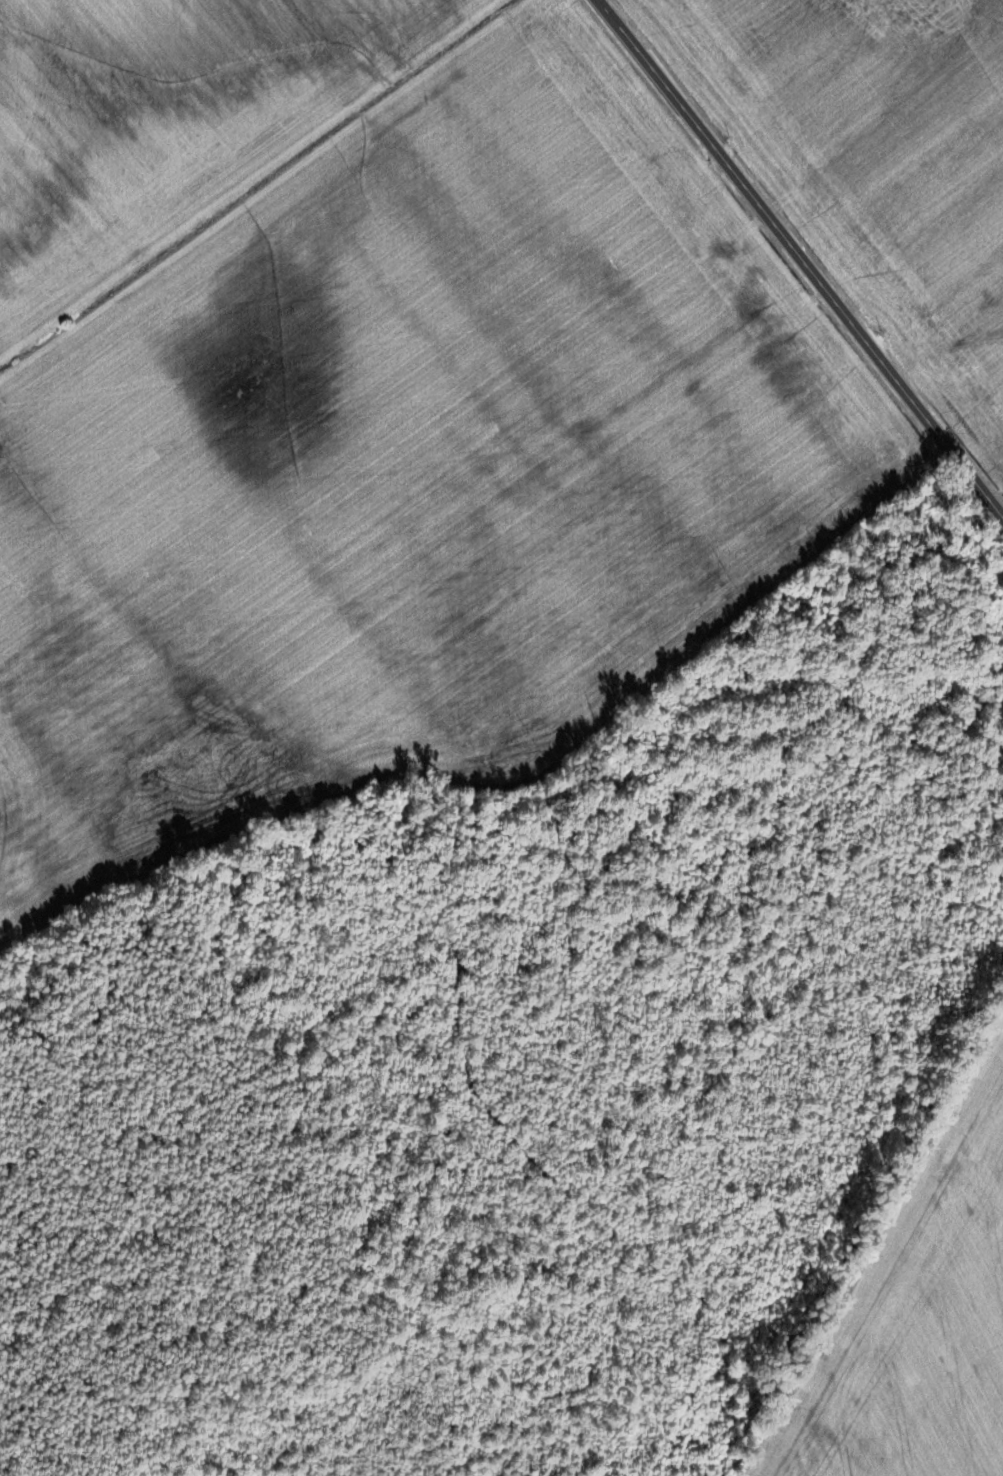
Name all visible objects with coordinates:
road: (801, 257)

